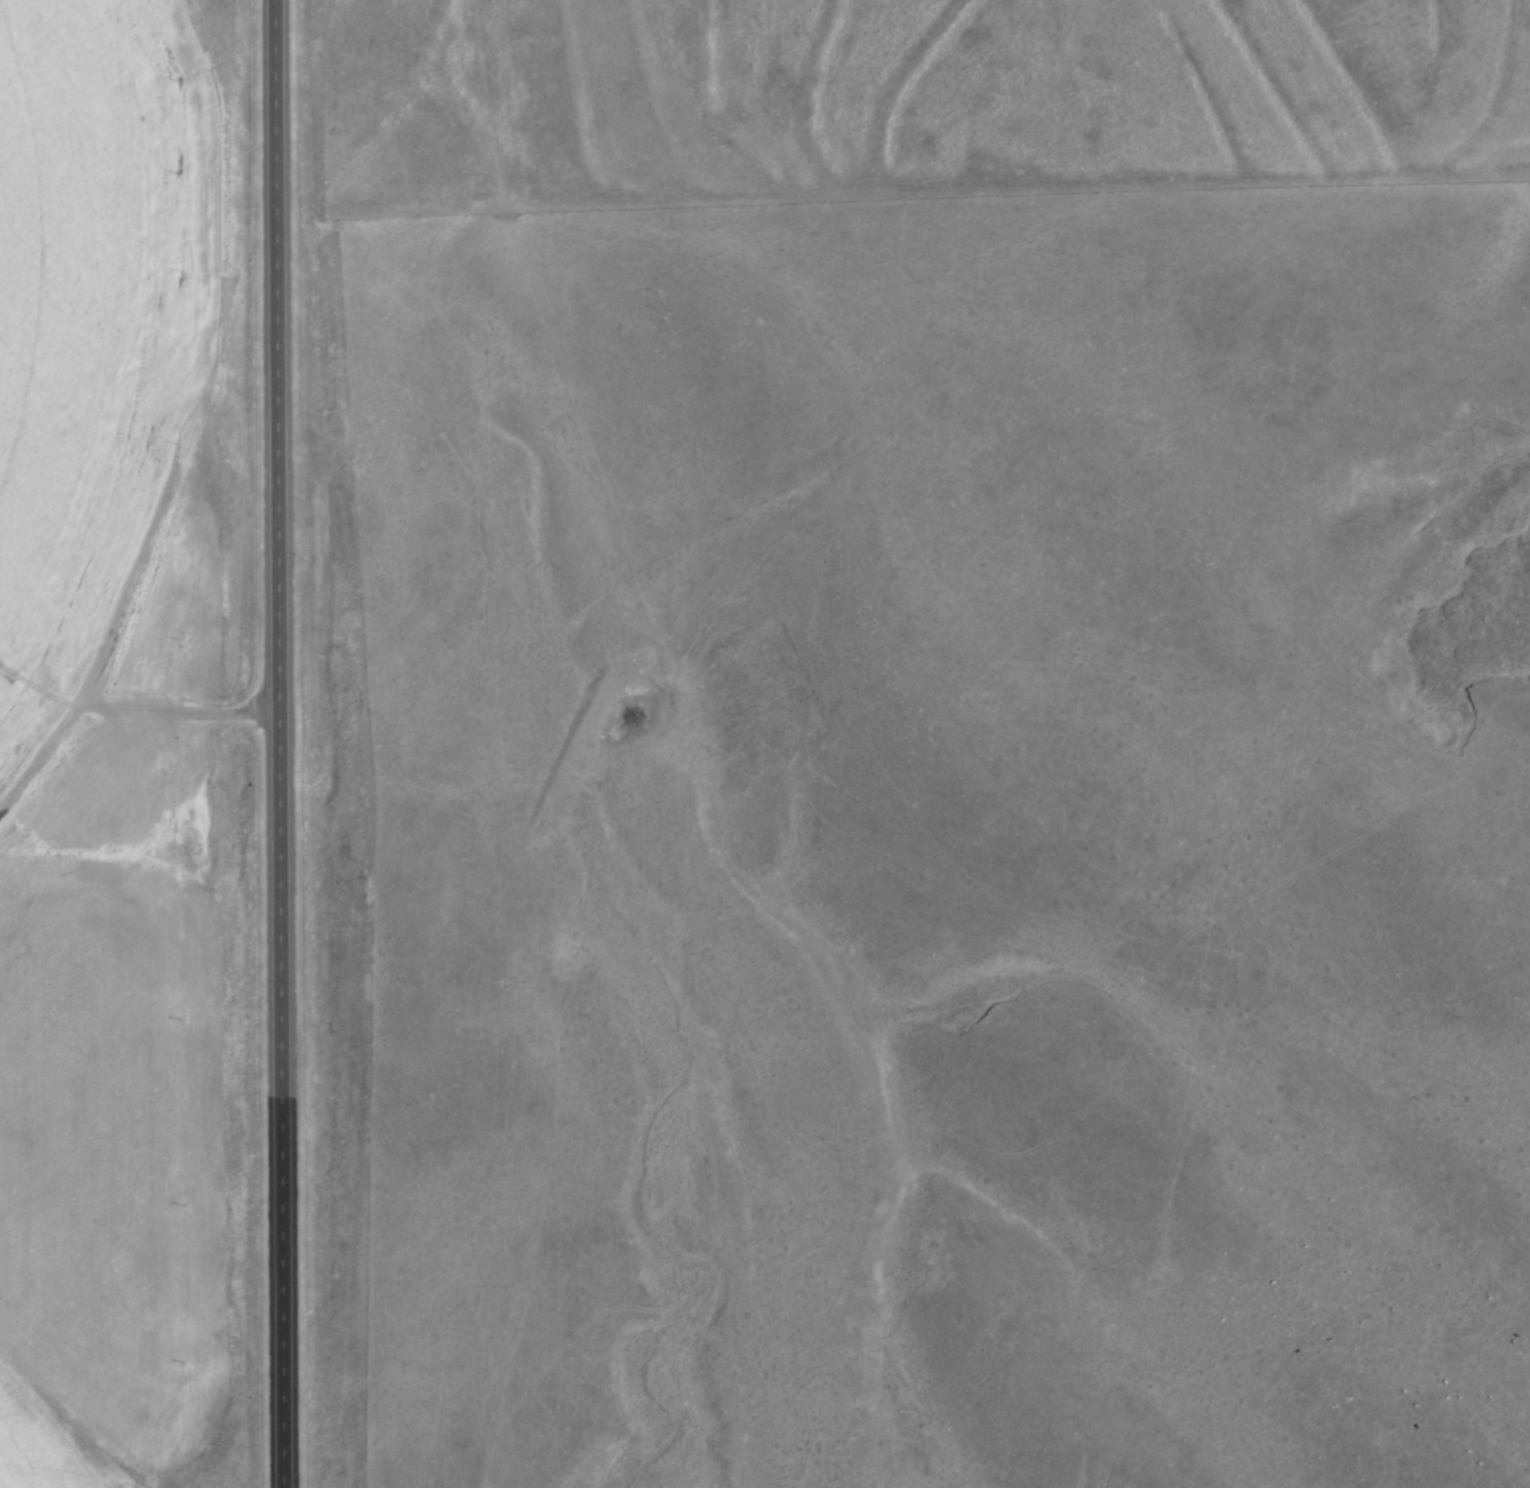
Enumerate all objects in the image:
crop: (111, 740)
road: (270, 743)

